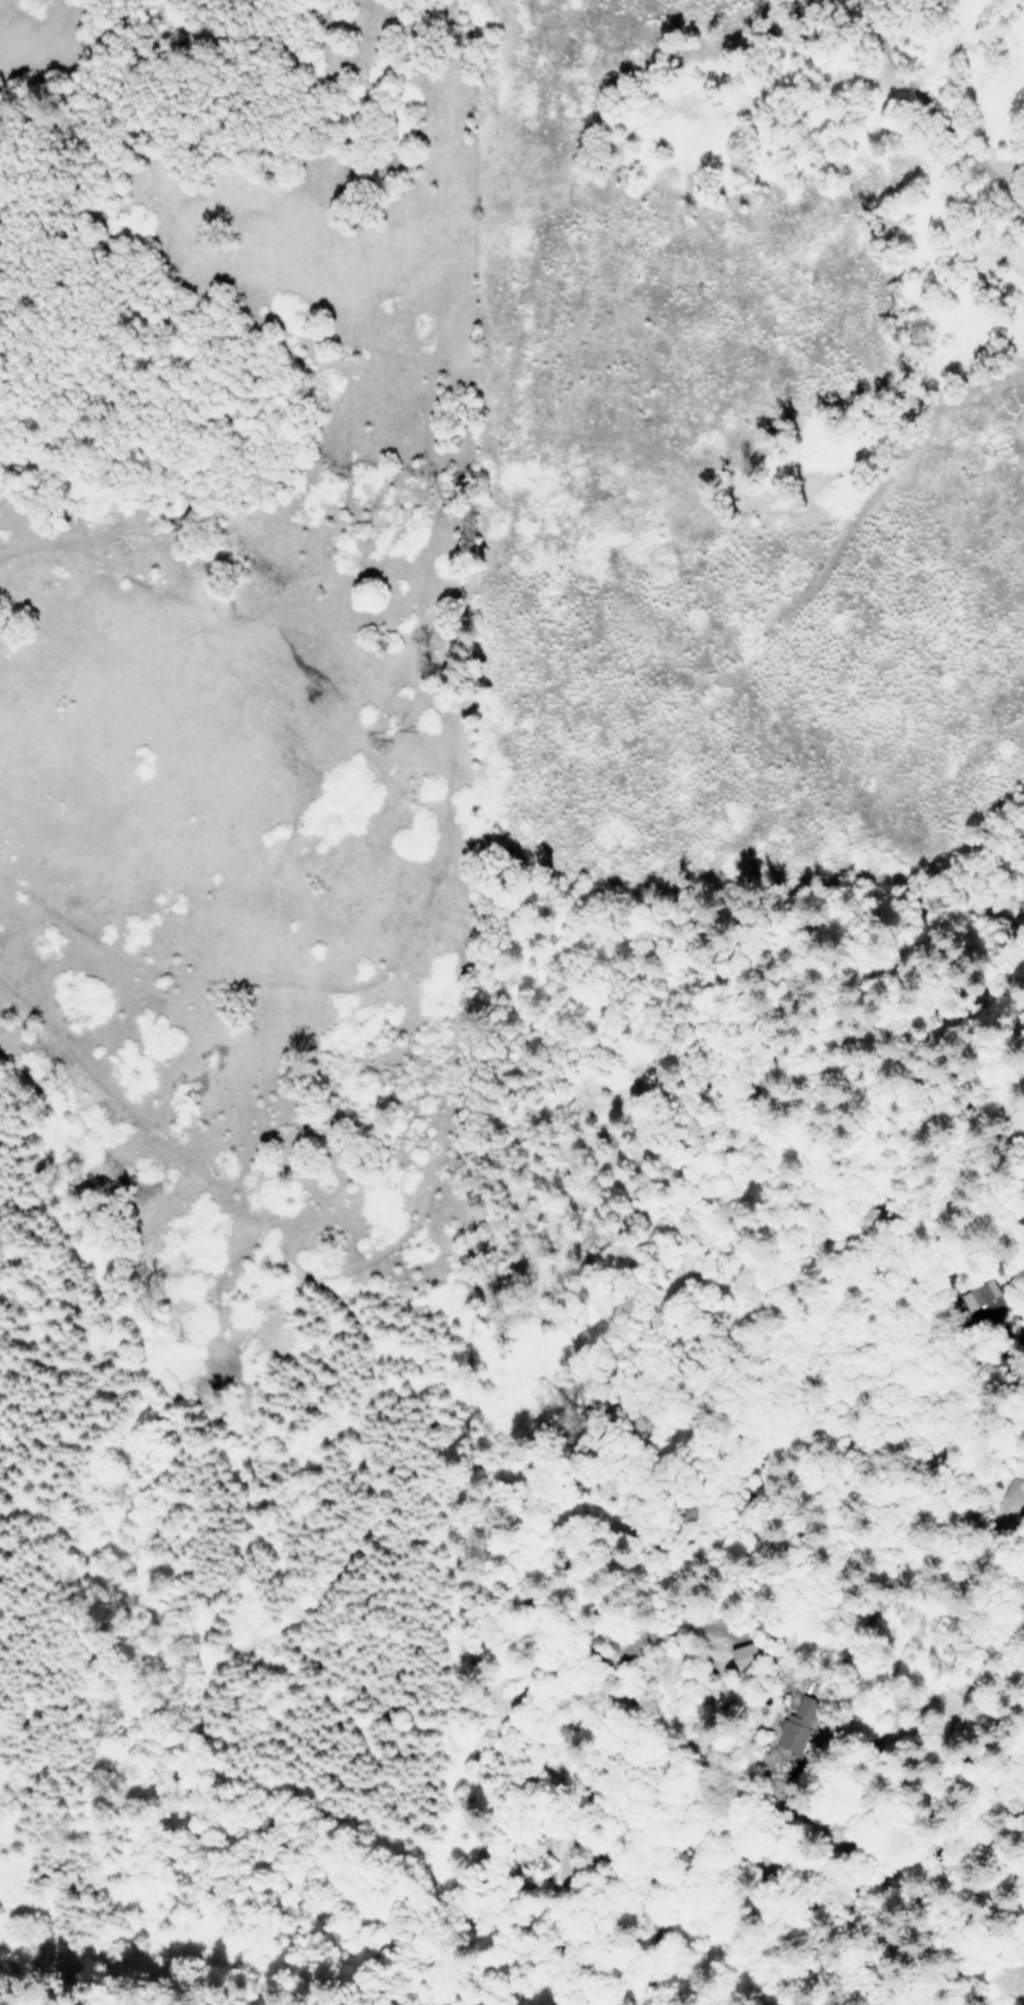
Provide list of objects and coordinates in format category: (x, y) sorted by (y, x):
building: (984, 1296)
building: (744, 1654)
building: (797, 1724)

